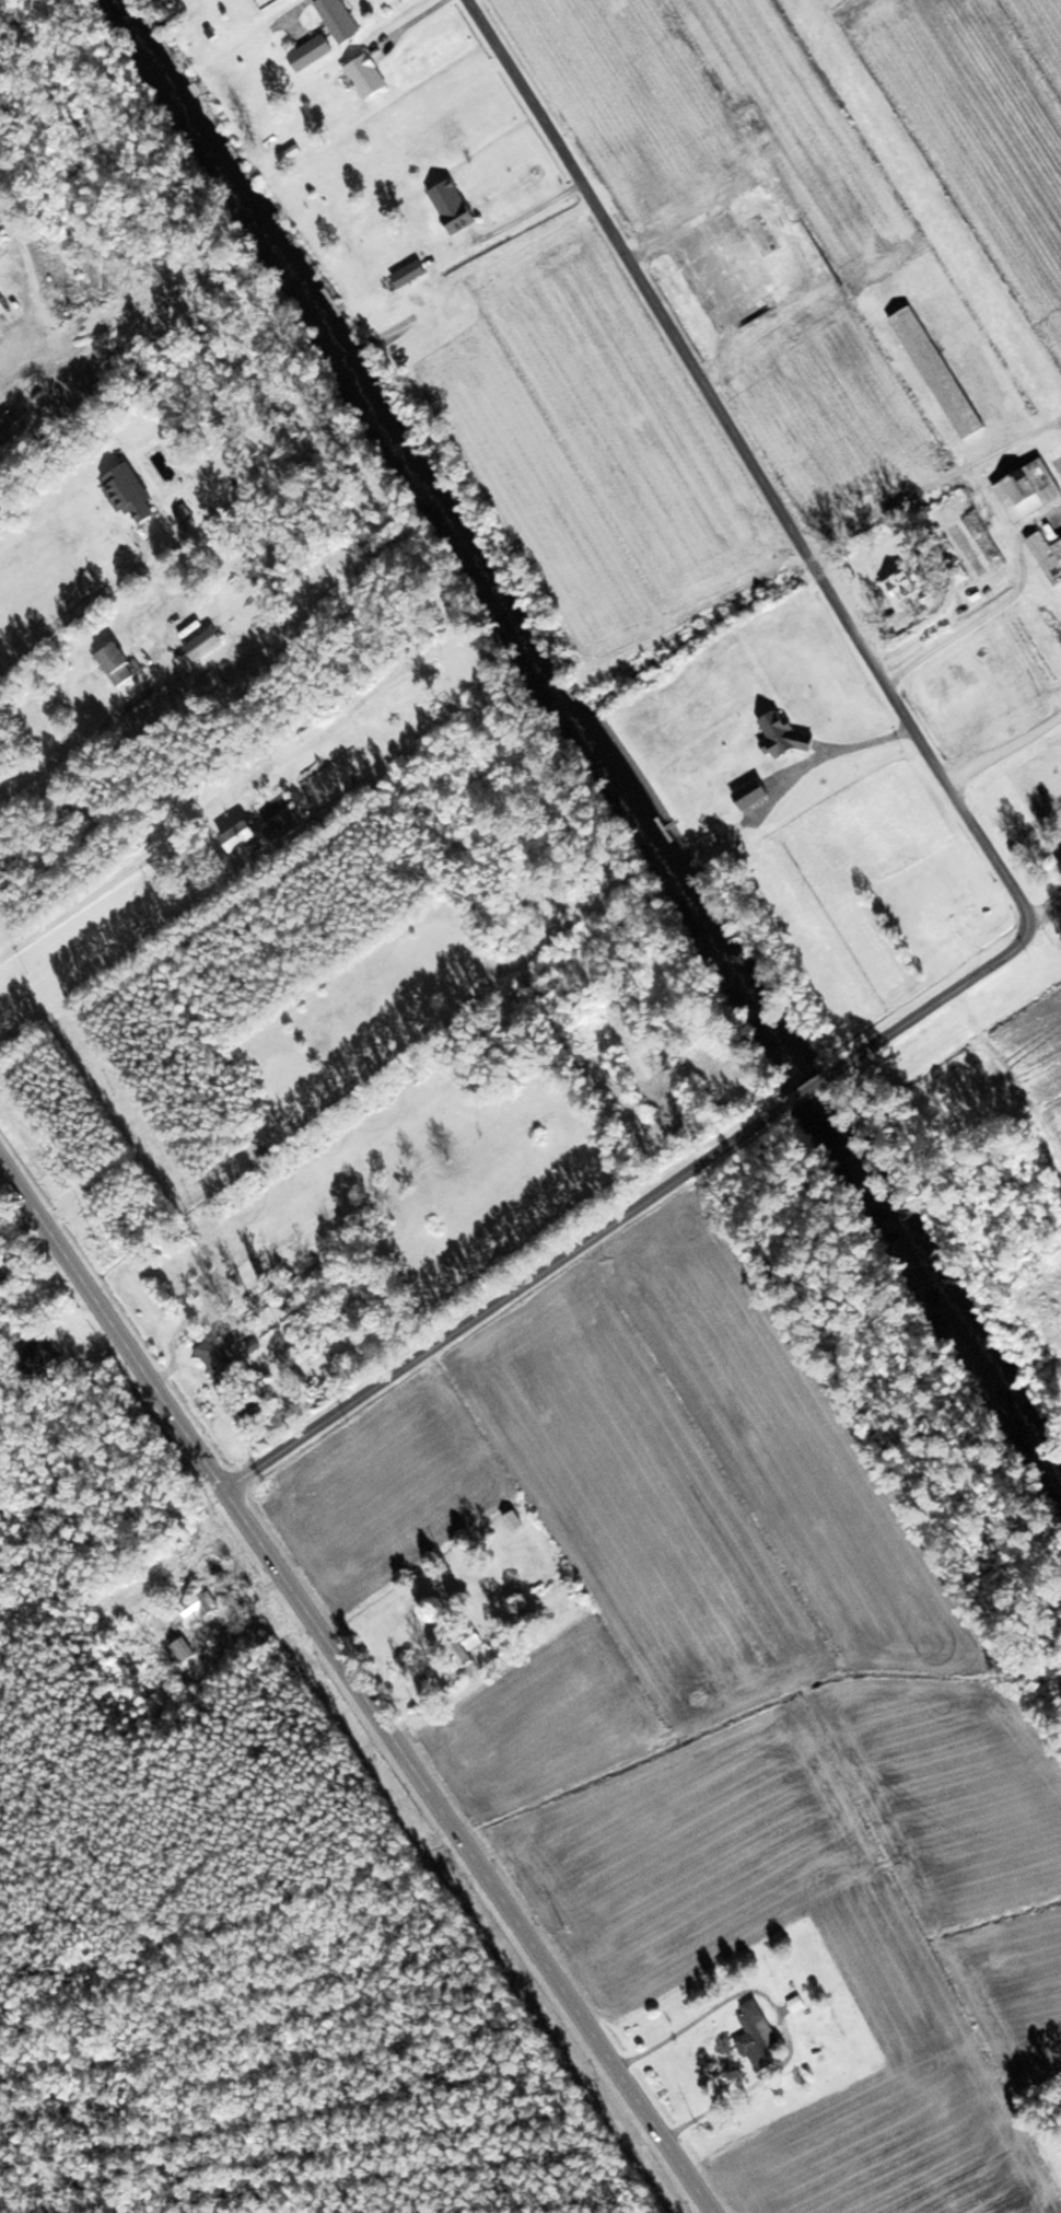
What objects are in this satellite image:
building: (343, 20)
building: (314, 54)
building: (371, 77)
building: (457, 207)
building: (413, 275)
road: (16, 348)
building: (941, 372)
building: (1031, 489)
building: (133, 494)
building: (1050, 549)
building: (910, 589)
building: (208, 644)
building: (121, 664)
road: (77, 746)
building: (266, 833)
road: (119, 878)
road: (1011, 883)
building: (47, 1351)
building: (220, 1353)
building: (516, 1522)
building: (200, 1609)
building: (469, 1647)
building: (188, 1650)
road: (355, 1684)
road: (781, 2013)
building: (760, 2037)

